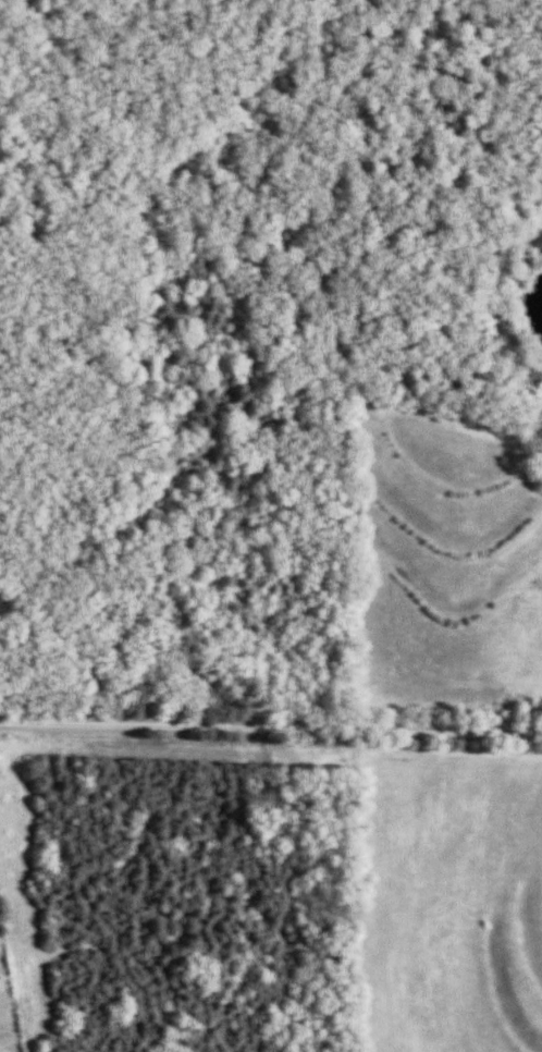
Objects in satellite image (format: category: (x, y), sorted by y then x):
road: (271, 729)

